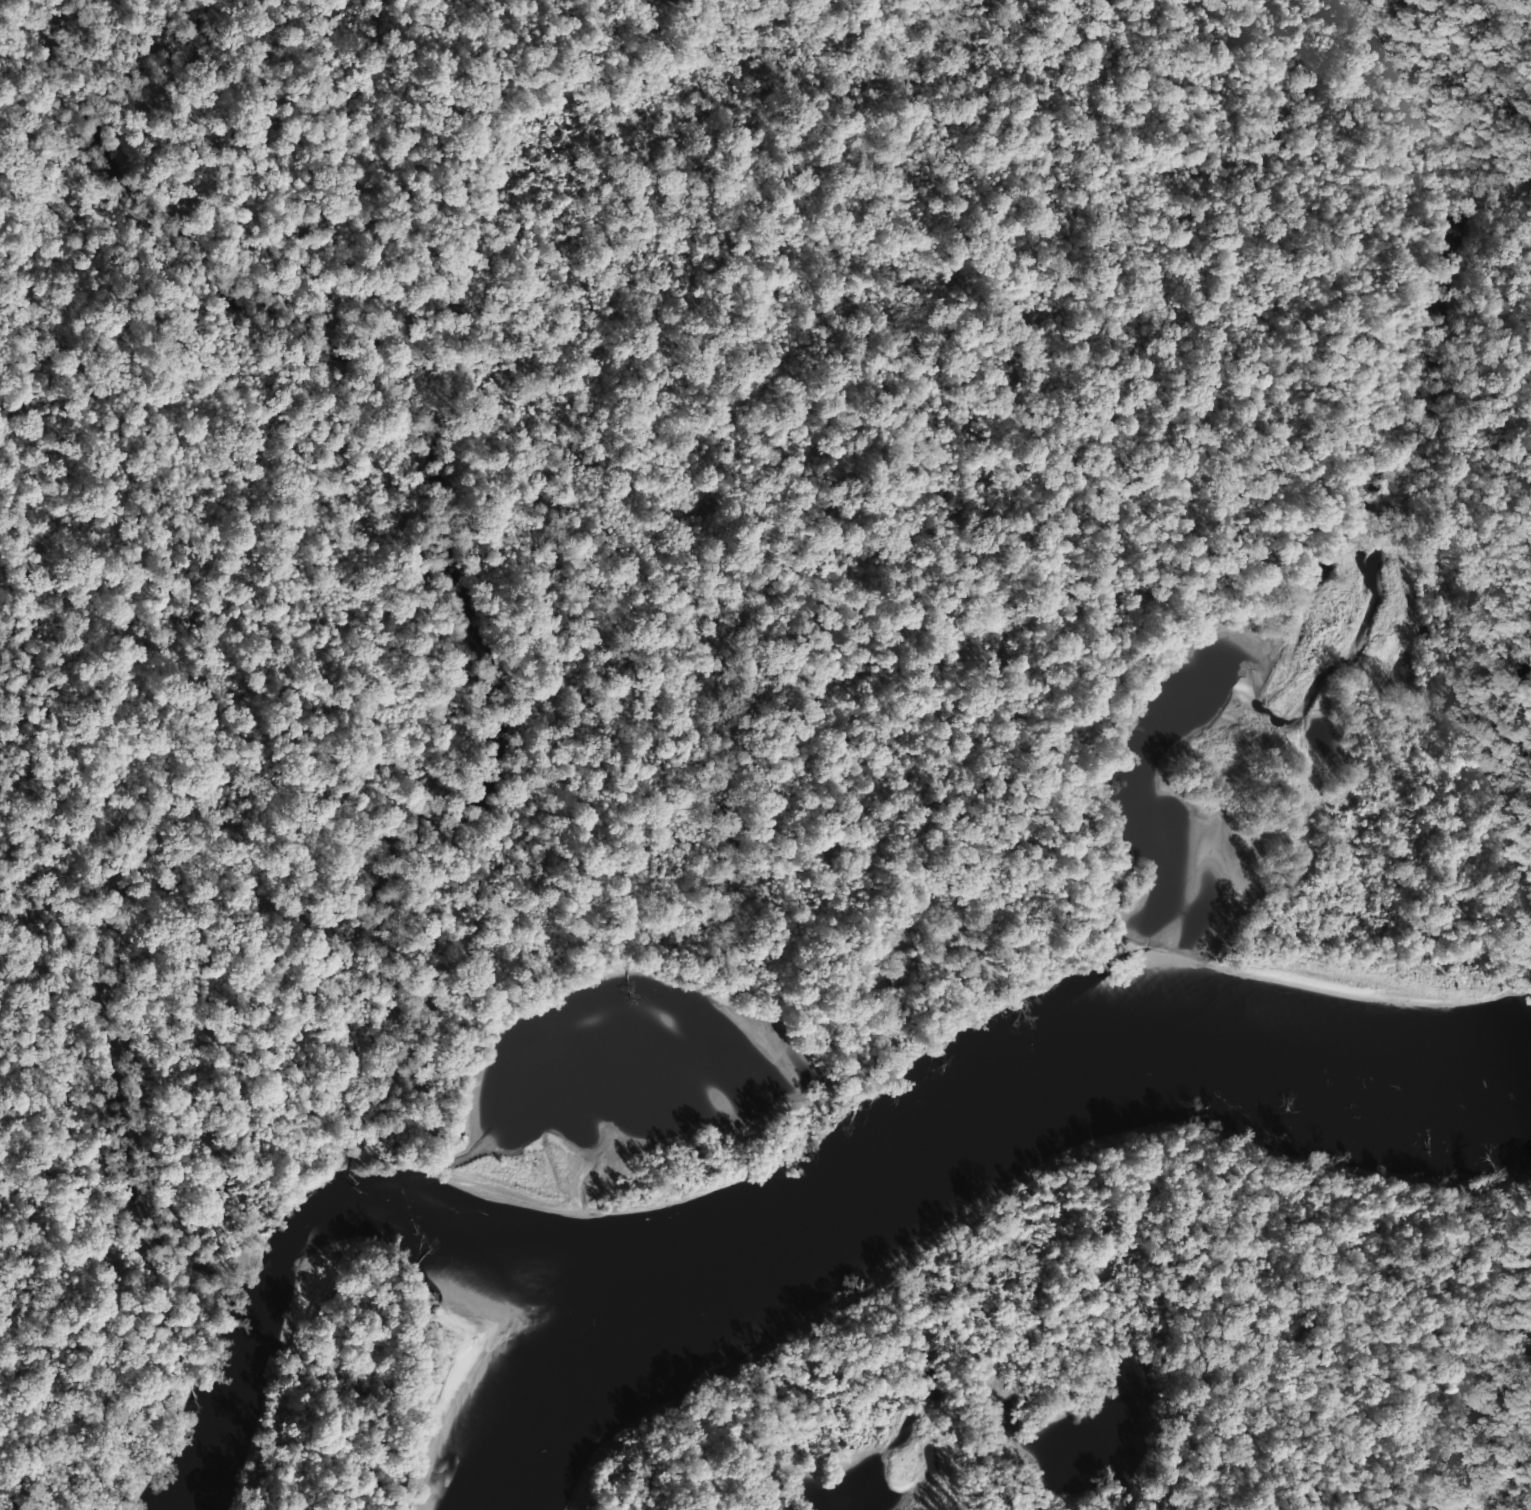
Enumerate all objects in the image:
river: (958, 1124)
river: (280, 1323)

